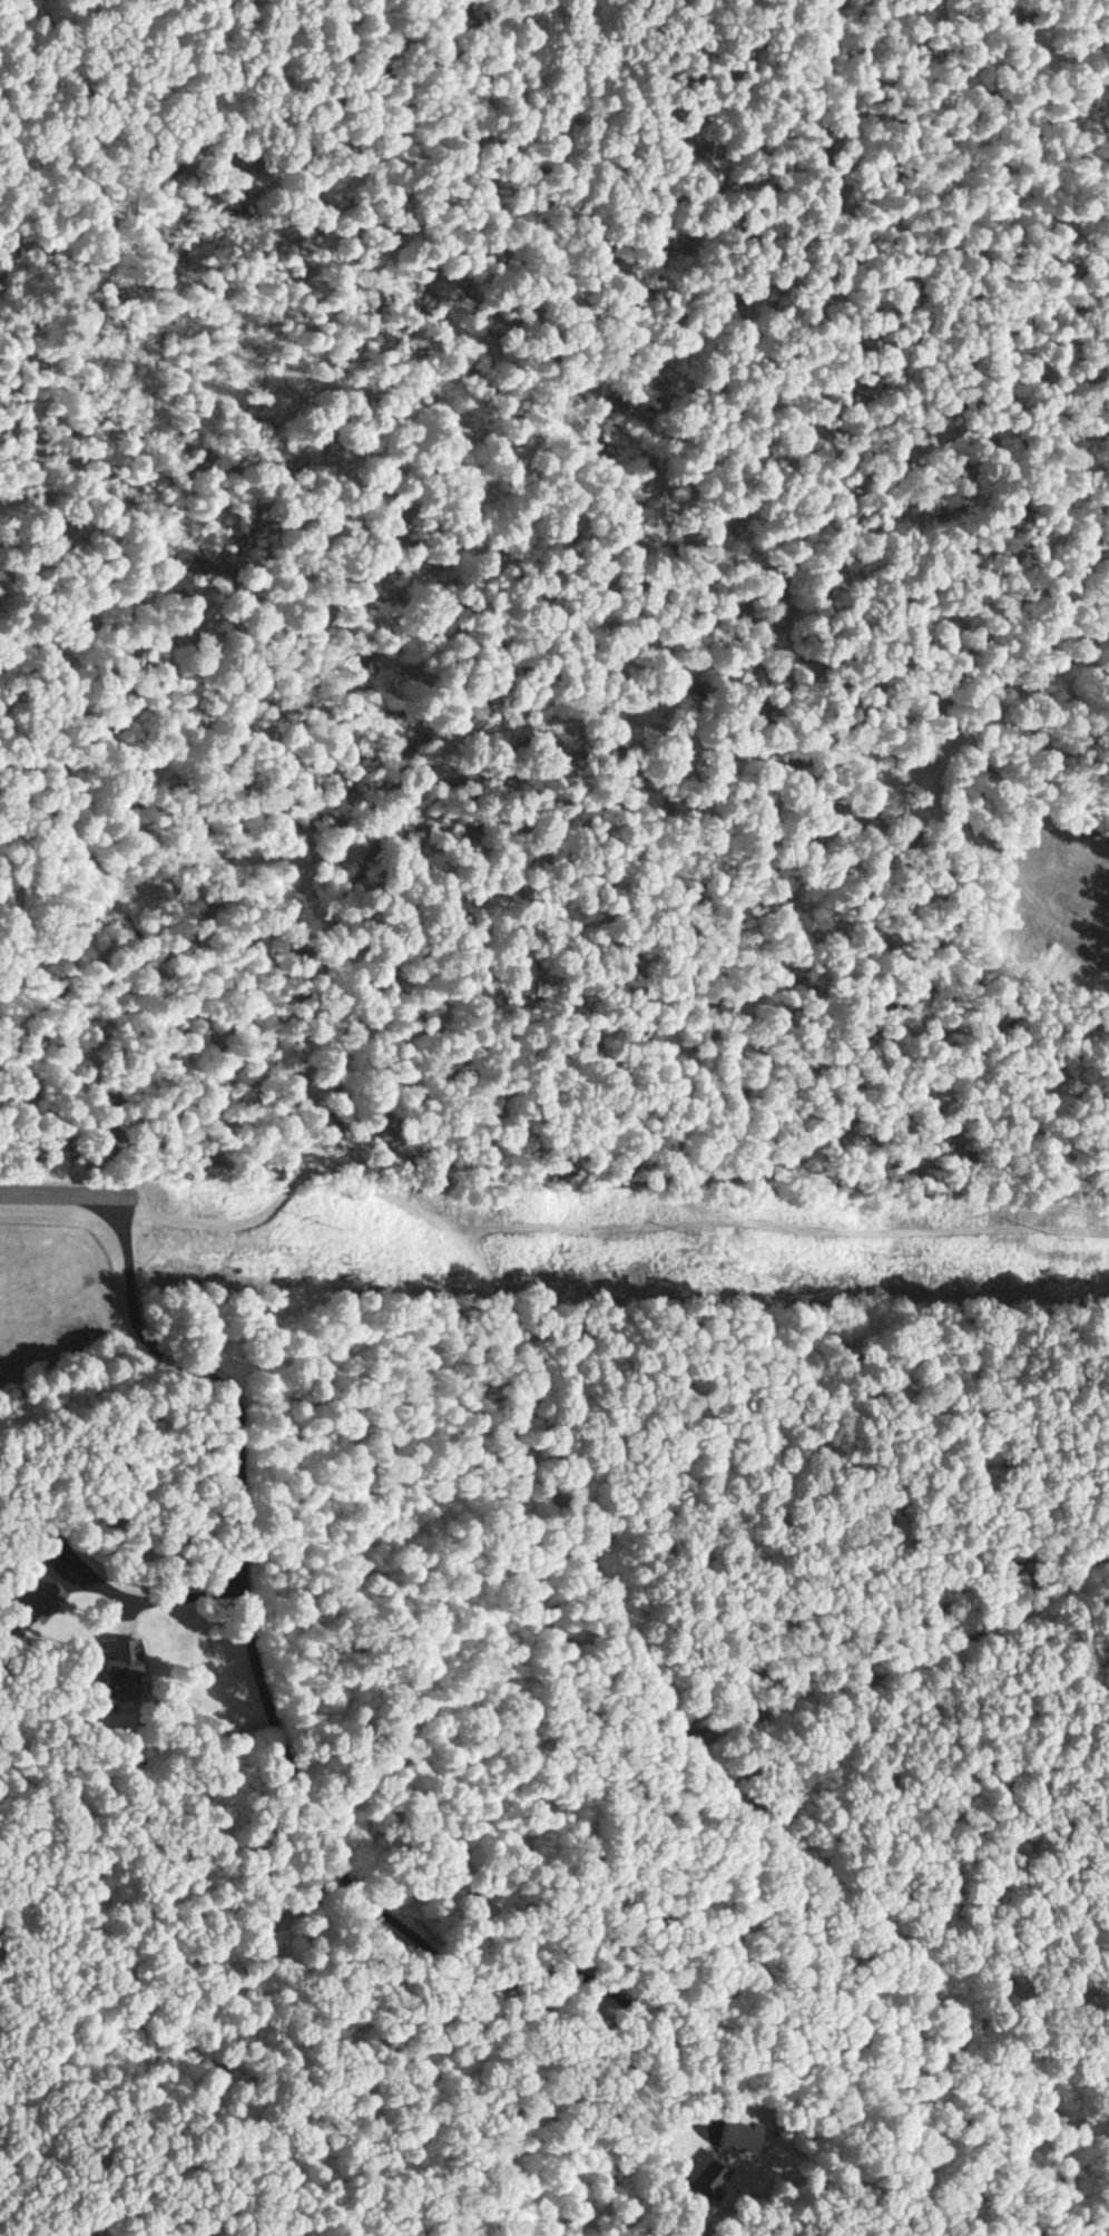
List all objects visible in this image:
road: (540, 699)
petroleum well: (1074, 910)
road: (56, 1193)
road: (600, 1582)
road: (247, 1591)
building: (41, 1597)
road: (914, 1661)
building: (121, 1669)
road: (222, 1966)
building: (736, 2134)
building: (706, 2176)

